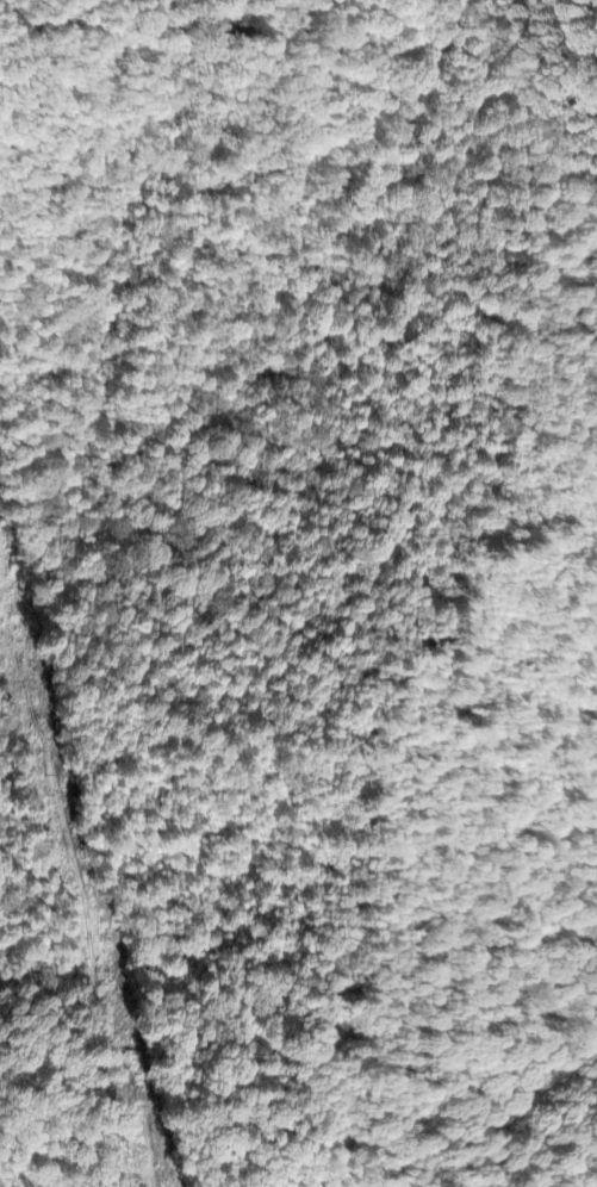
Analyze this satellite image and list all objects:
road: (44, 20)
road: (248, 31)

